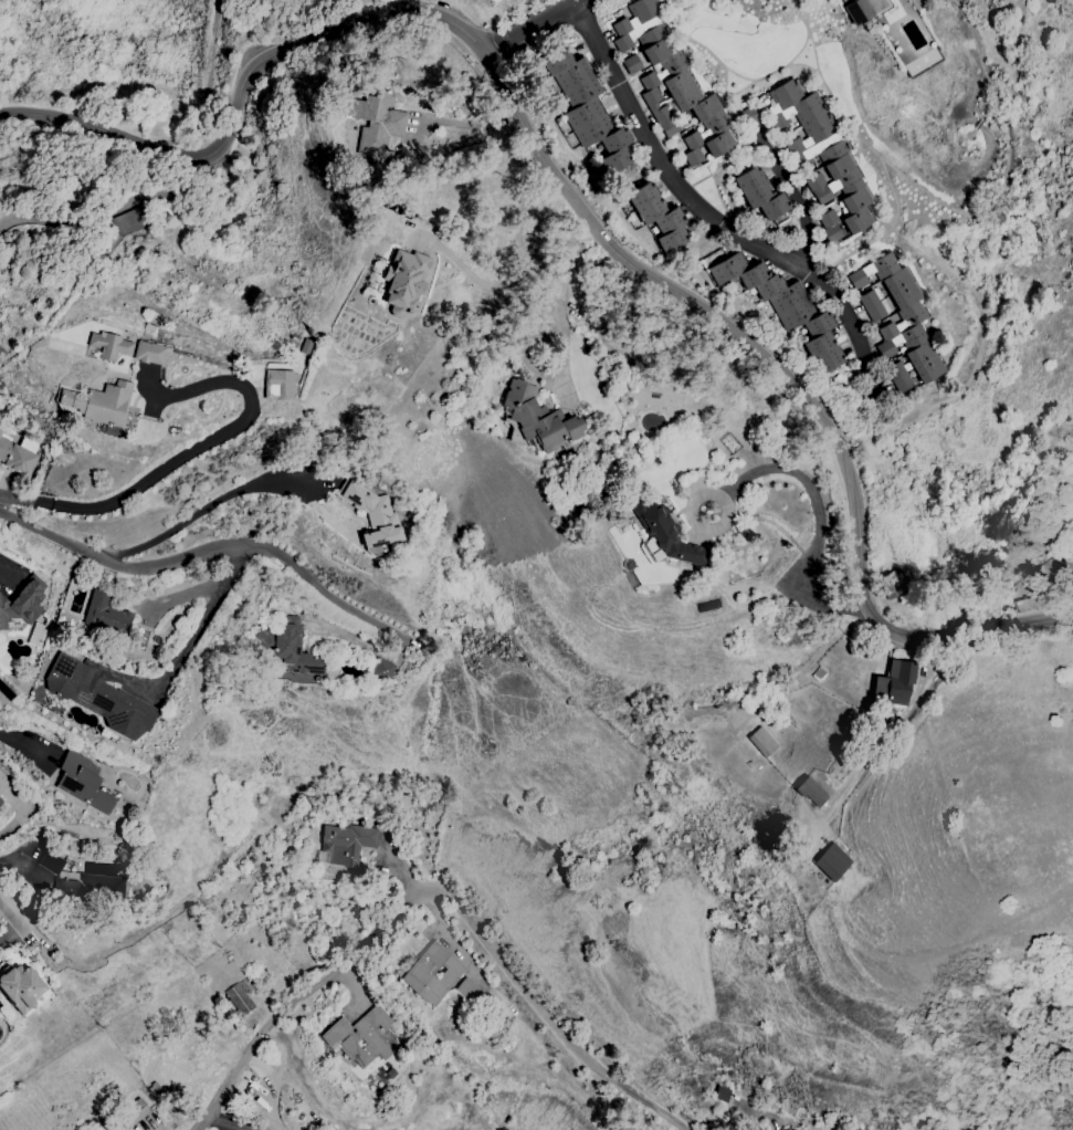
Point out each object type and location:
road: (574, 0)
building: (858, 12)
building: (638, 15)
road: (532, 27)
building: (642, 35)
building: (659, 51)
park: (209, 61)
building: (557, 61)
building: (632, 65)
building: (664, 71)
building: (572, 74)
road: (203, 82)
building: (677, 83)
building: (582, 91)
building: (785, 96)
building: (651, 98)
building: (686, 98)
building: (705, 108)
building: (799, 112)
building: (583, 114)
building: (661, 114)
building: (749, 117)
building: (377, 123)
road: (467, 125)
building: (669, 128)
building: (707, 129)
building: (595, 130)
building: (812, 134)
building: (616, 140)
building: (718, 144)
building: (822, 151)
building: (693, 157)
building: (616, 160)
building: (829, 172)
building: (749, 179)
building: (839, 187)
building: (759, 195)
building: (642, 196)
road: (798, 197)
building: (854, 200)
road: (575, 203)
building: (774, 207)
road: (702, 210)
building: (651, 211)
road: (104, 215)
road: (535, 219)
building: (828, 219)
building: (669, 221)
building: (855, 221)
building: (127, 222)
building: (831, 234)
building: (672, 240)
building: (728, 269)
building: (873, 271)
building: (754, 275)
road: (477, 279)
building: (895, 281)
building: (406, 282)
building: (770, 286)
building: (905, 296)
building: (789, 297)
building: (867, 300)
building: (875, 312)
building: (799, 315)
building: (903, 321)
building: (820, 324)
road: (561, 332)
building: (902, 341)
building: (820, 344)
building: (109, 346)
building: (149, 353)
building: (919, 355)
building: (829, 360)
building: (928, 370)
building: (896, 372)
building: (903, 384)
building: (278, 385)
building: (101, 404)
building: (538, 418)
building: (0, 433)
building: (17, 459)
road: (183, 459)
road: (192, 514)
building: (375, 515)
road: (698, 526)
road: (819, 531)
building: (666, 534)
road: (204, 552)
road: (0, 568)
building: (893, 584)
building: (23, 603)
building: (106, 615)
road: (193, 632)
building: (287, 646)
building: (380, 670)
building: (895, 683)
building: (99, 697)
building: (761, 742)
road: (25, 747)
building: (3, 781)
building: (83, 783)
building: (810, 793)
building: (1, 801)
building: (348, 844)
building: (831, 862)
building: (92, 888)
road: (14, 919)
road: (379, 925)
building: (433, 973)
building: (21, 987)
building: (469, 992)
building: (240, 998)
building: (361, 1037)
road: (631, 1088)
building: (135, 1111)

